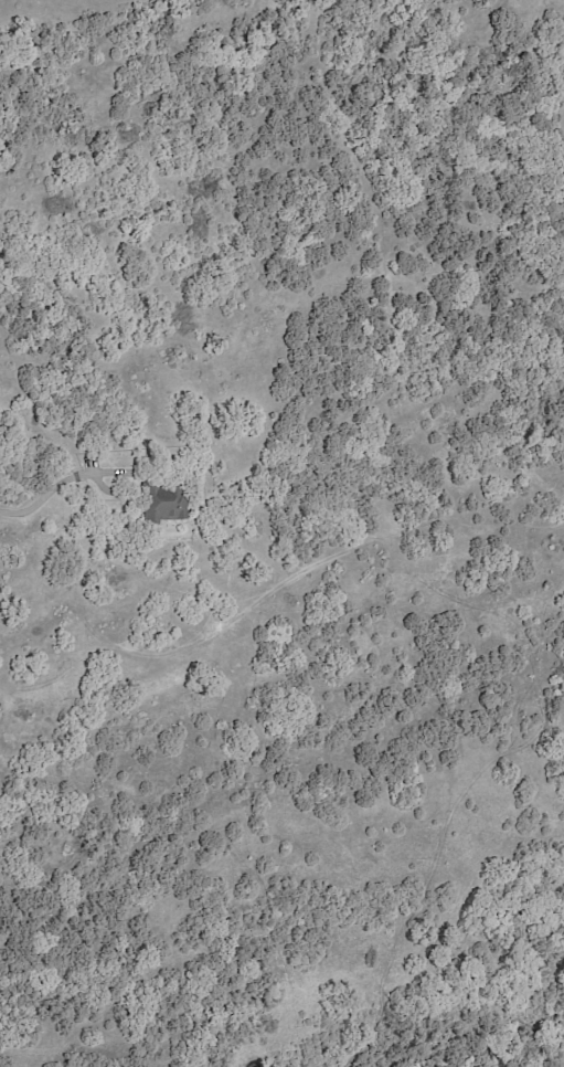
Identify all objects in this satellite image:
road: (51, 487)
building: (164, 504)

